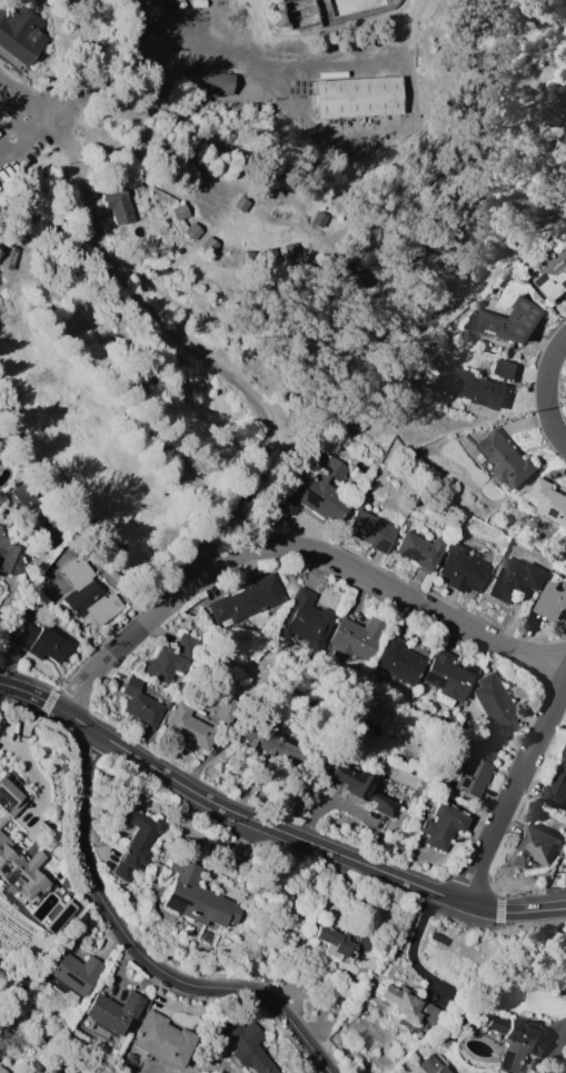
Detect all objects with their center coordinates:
building: (130, 1)
building: (279, 19)
building: (21, 34)
road: (208, 56)
building: (210, 81)
building: (359, 97)
building: (241, 203)
building: (118, 205)
building: (180, 211)
road: (91, 221)
building: (192, 229)
building: (209, 245)
building: (11, 257)
building: (550, 270)
road: (355, 294)
building: (507, 320)
building: (476, 384)
road: (548, 391)
building: (506, 458)
building: (318, 486)
building: (21, 495)
building: (547, 501)
building: (0, 526)
building: (0, 530)
building: (371, 530)
road: (297, 548)
building: (421, 550)
building: (10, 557)
building: (463, 568)
building: (513, 579)
building: (89, 594)
building: (247, 600)
building: (550, 602)
building: (306, 620)
building: (356, 638)
building: (40, 642)
building: (171, 659)
building: (398, 659)
building: (448, 677)
road: (31, 694)
building: (488, 704)
building: (141, 705)
building: (228, 711)
building: (191, 727)
building: (495, 737)
building: (270, 739)
road: (27, 758)
building: (476, 768)
building: (556, 784)
building: (361, 787)
road: (512, 791)
building: (11, 797)
road: (357, 806)
building: (441, 826)
building: (137, 839)
road: (304, 841)
road: (208, 842)
building: (535, 847)
building: (29, 888)
building: (197, 896)
building: (439, 938)
building: (342, 942)
road: (414, 944)
road: (145, 950)
building: (73, 973)
building: (409, 1004)
building: (109, 1014)
road: (563, 1029)
building: (162, 1040)
building: (516, 1041)
building: (247, 1046)
building: (433, 1065)
building: (2, 1070)

